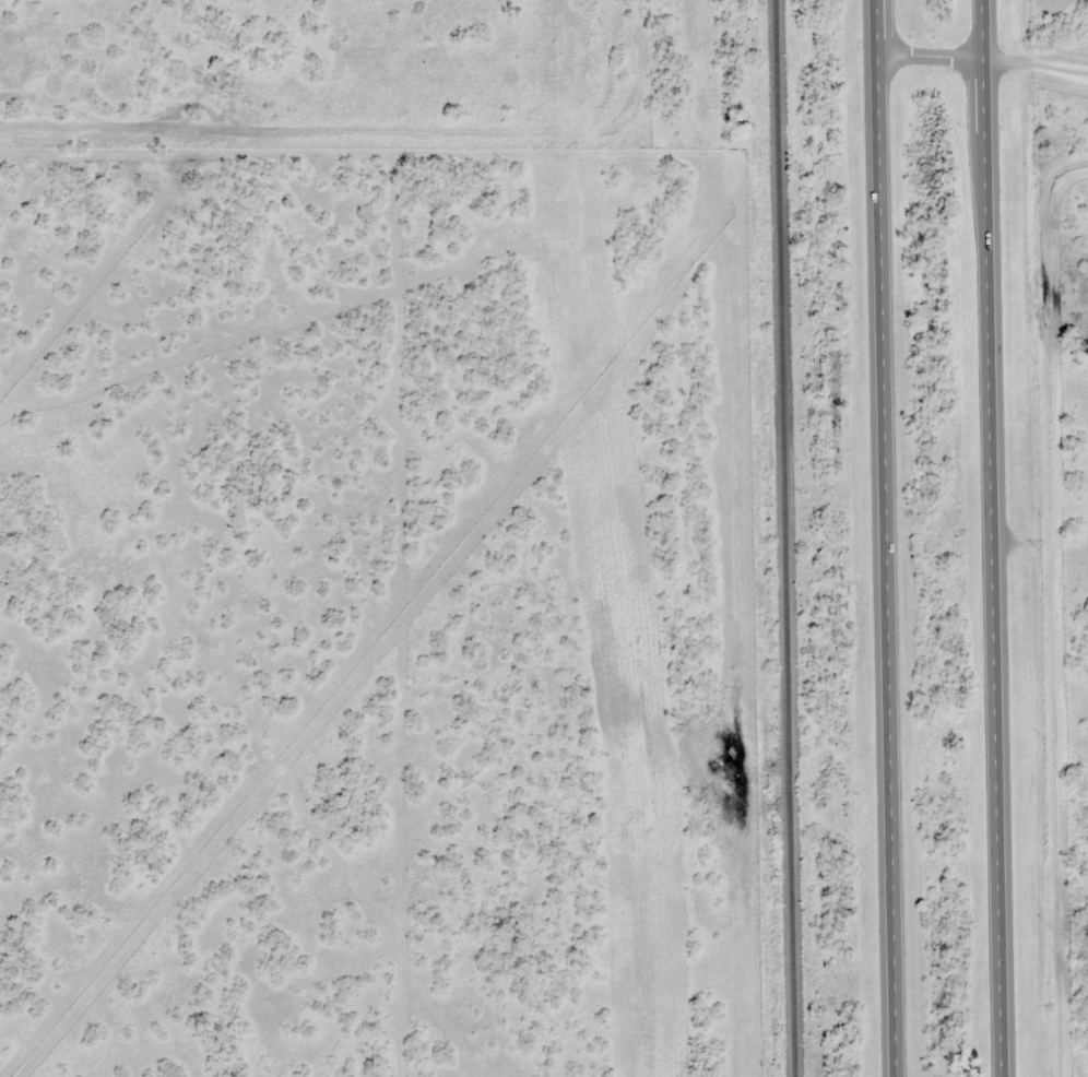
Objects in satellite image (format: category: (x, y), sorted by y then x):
road: (984, 59)
road: (308, 149)
railway: (791, 537)
road: (996, 537)
road: (886, 538)

